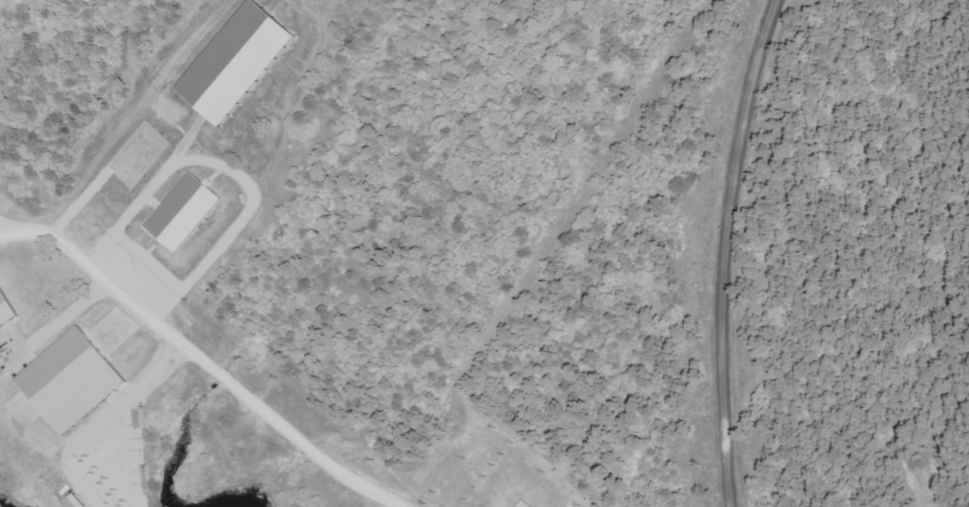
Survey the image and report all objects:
building: (241, 64)
building: (186, 212)
road: (729, 251)
building: (8, 310)
road: (205, 355)
building: (76, 381)
building: (80, 501)
building: (528, 504)

